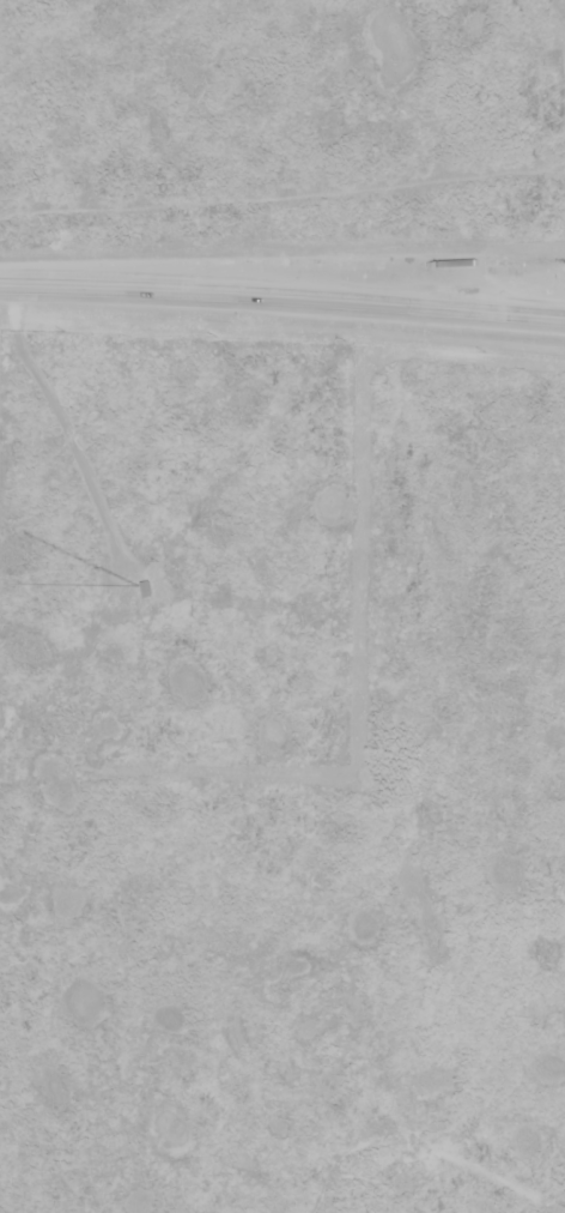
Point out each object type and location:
road: (282, 292)

